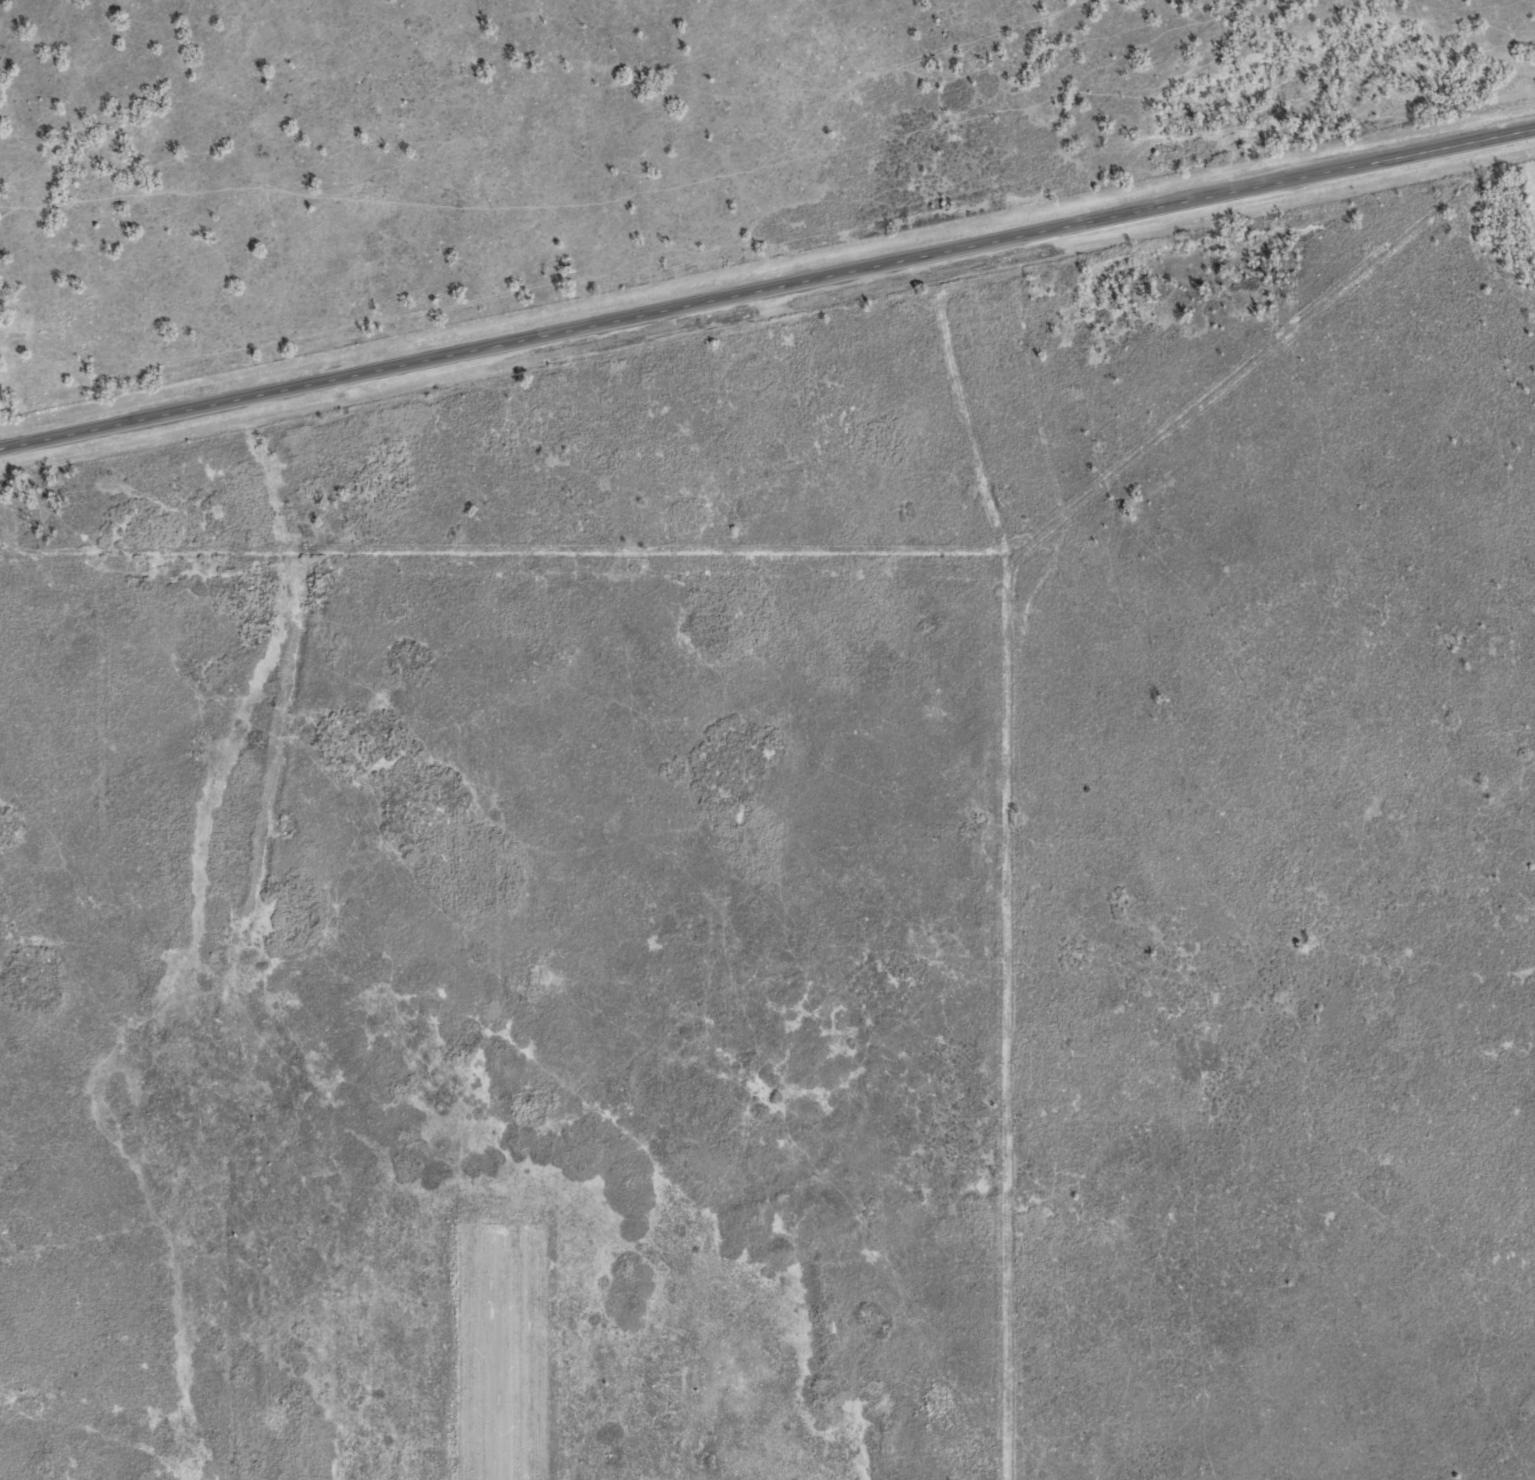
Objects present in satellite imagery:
road: (767, 303)
airport: (496, 1017)
airport taxiway: (496, 1354)

